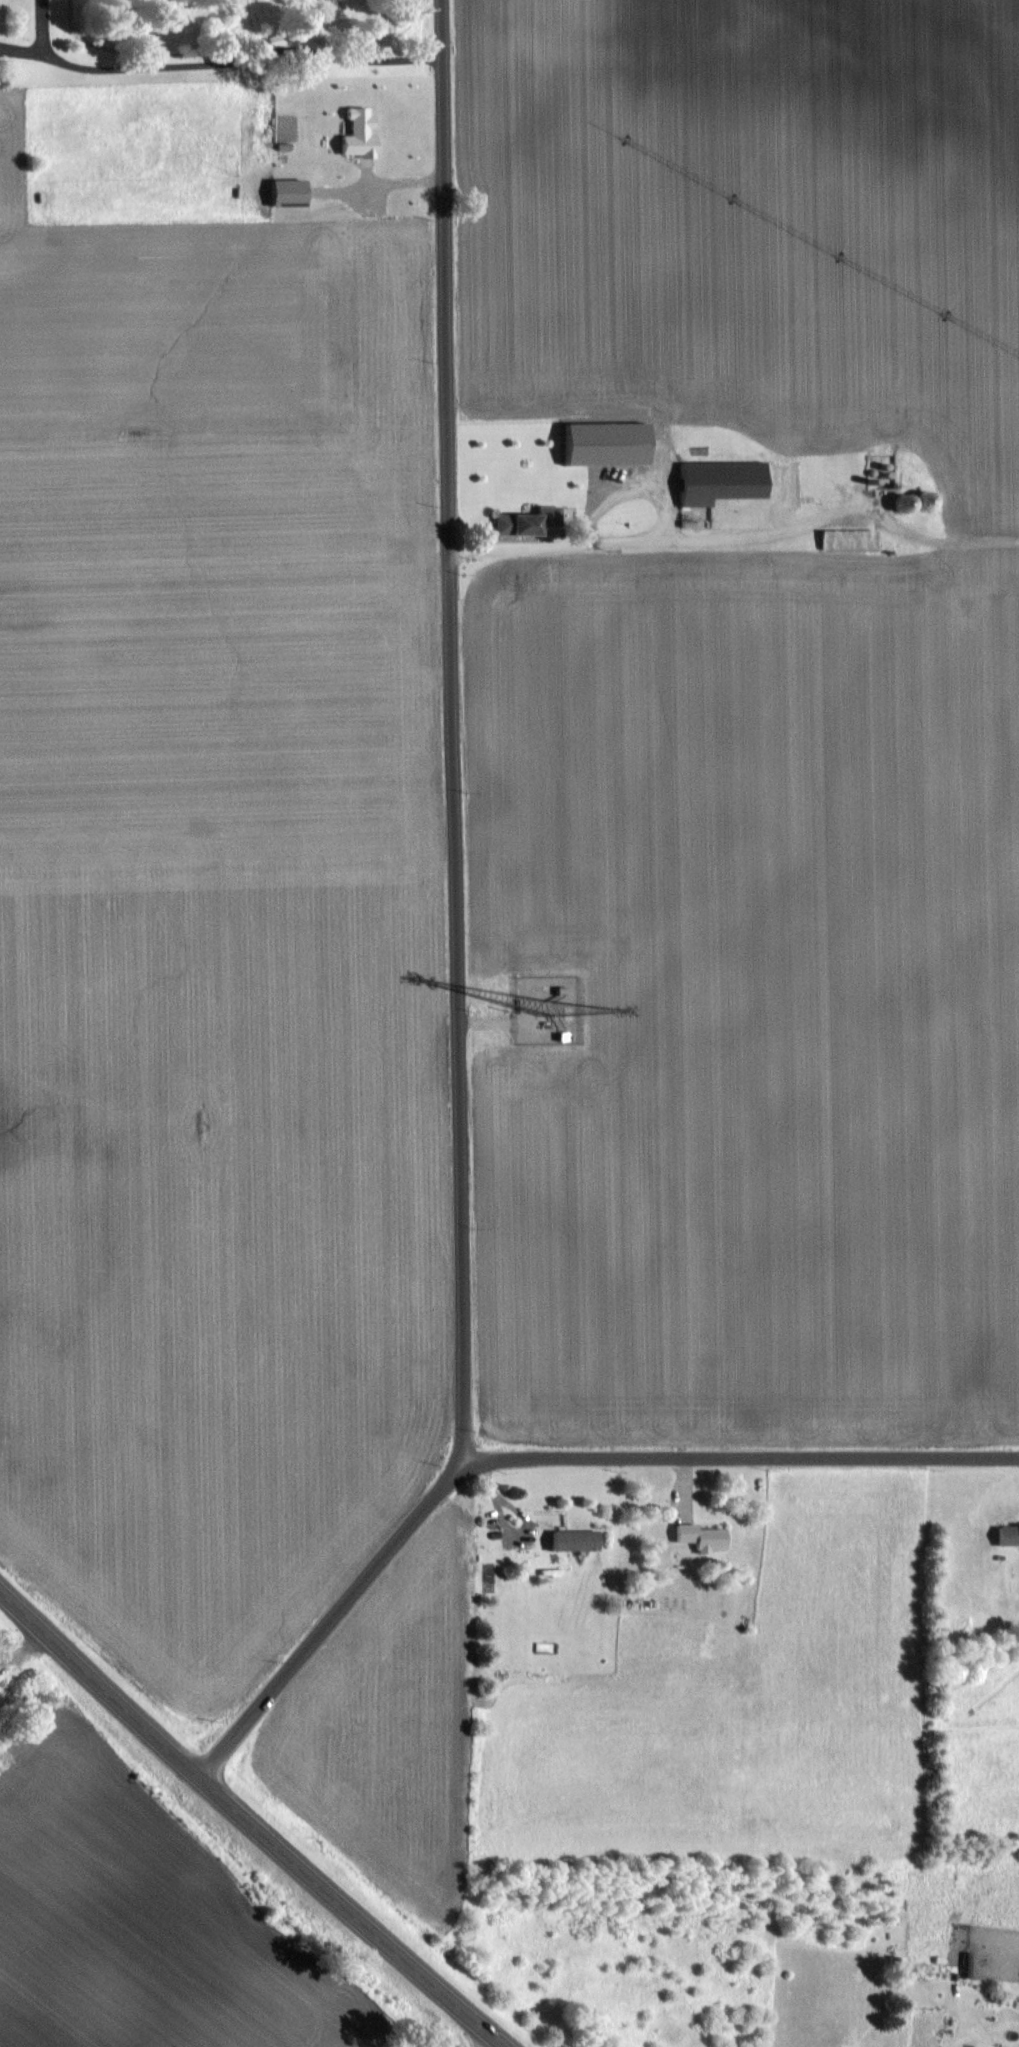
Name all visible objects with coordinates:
road: (220, 52)
building: (356, 133)
road: (379, 183)
building: (611, 445)
building: (879, 454)
building: (718, 481)
building: (515, 523)
road: (660, 536)
building: (838, 539)
road: (452, 734)
building: (560, 1008)
road: (536, 1456)
road: (506, 1530)
building: (1006, 1533)
building: (700, 1537)
building: (571, 1540)
road: (98, 1684)
road: (349, 1914)
building: (966, 1964)

